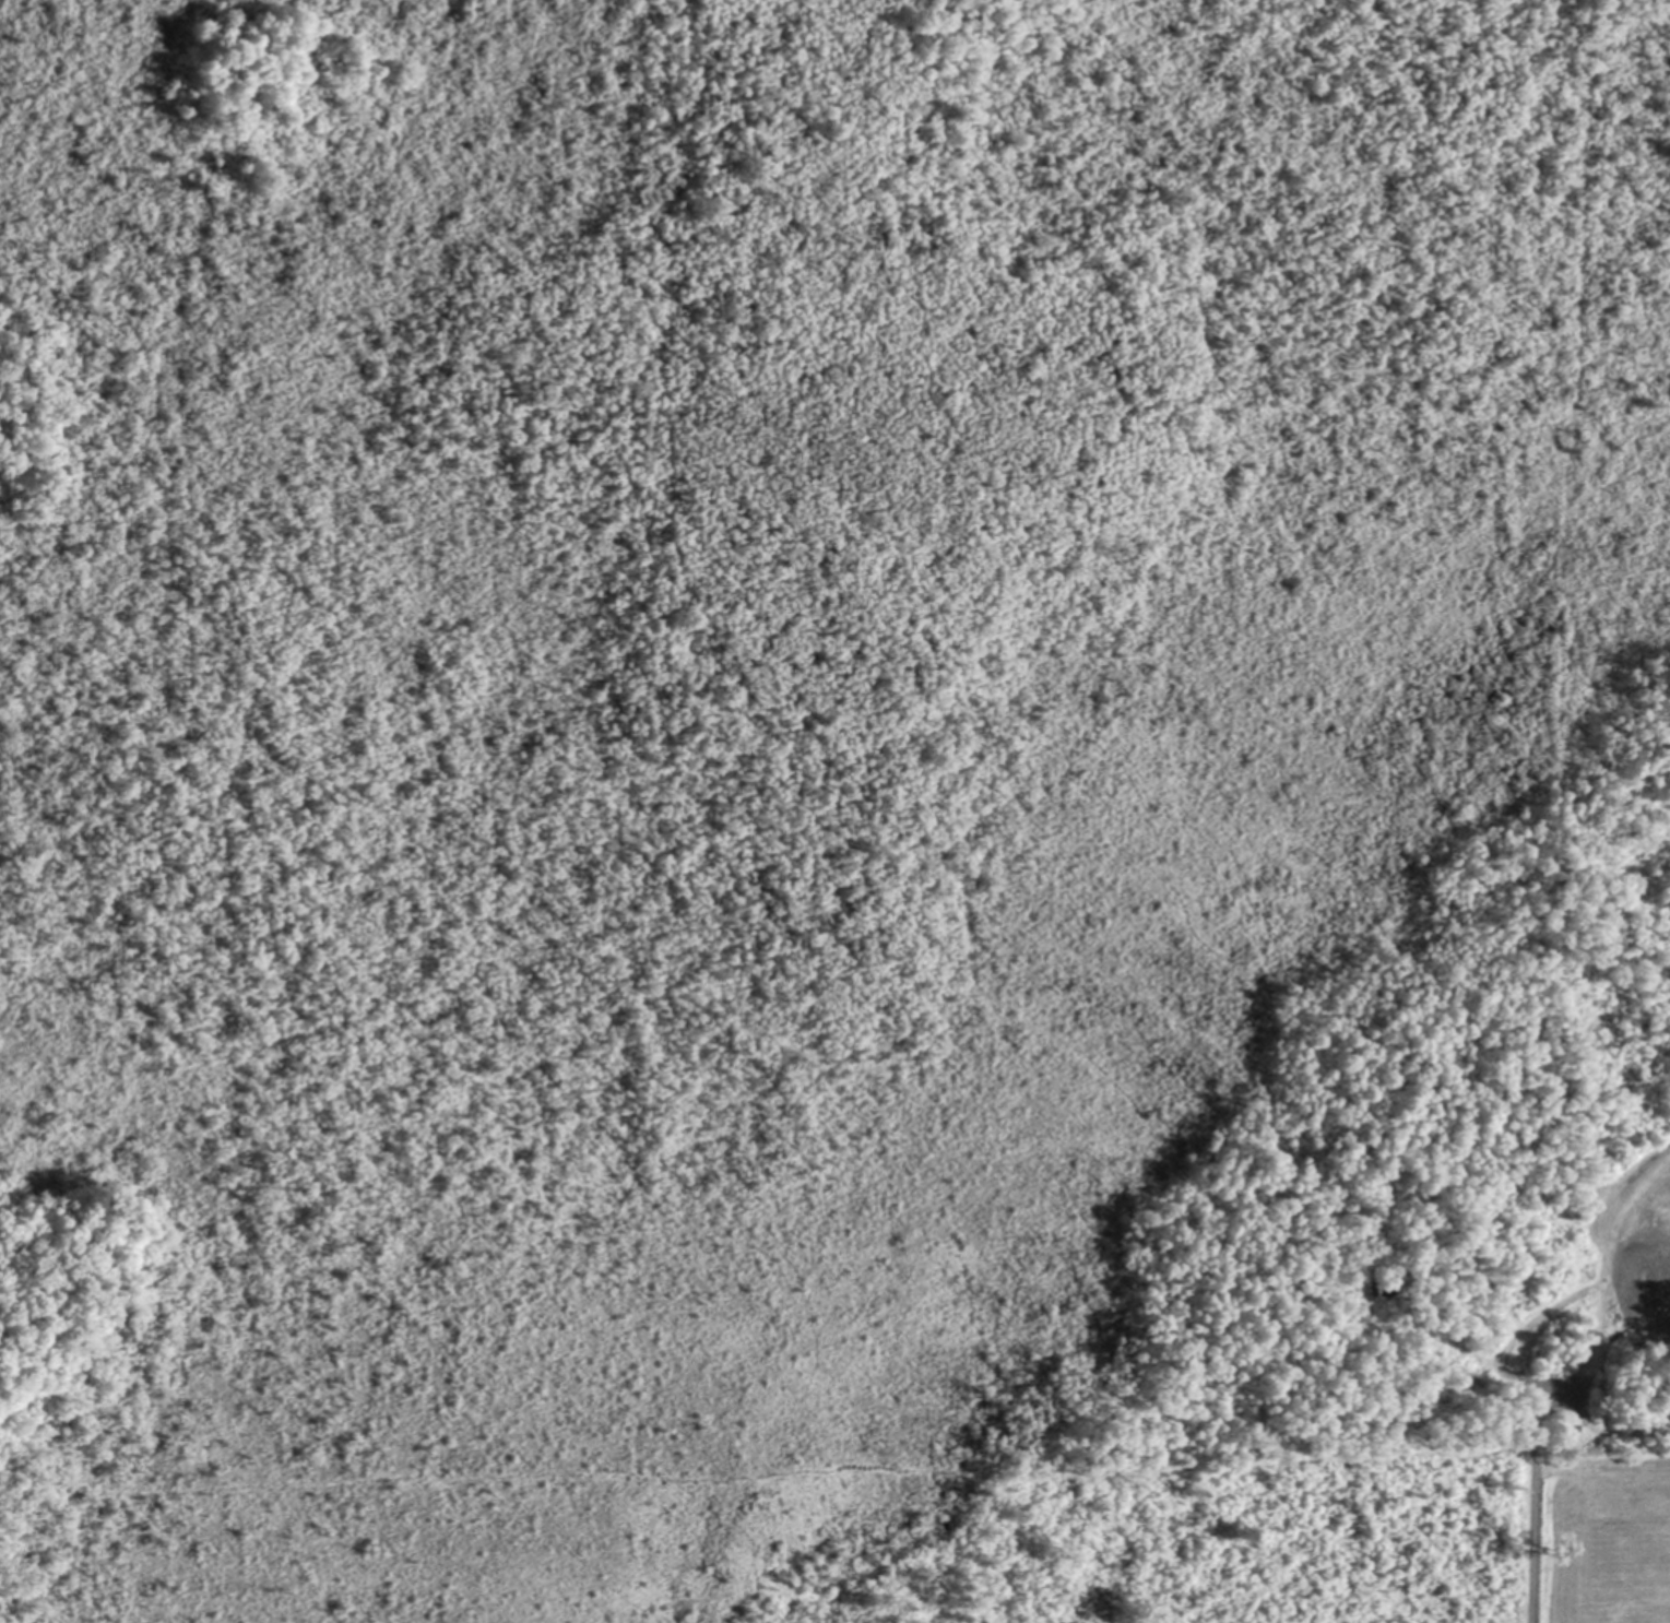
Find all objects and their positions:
building: (1381, 1284)
road: (1531, 1511)

